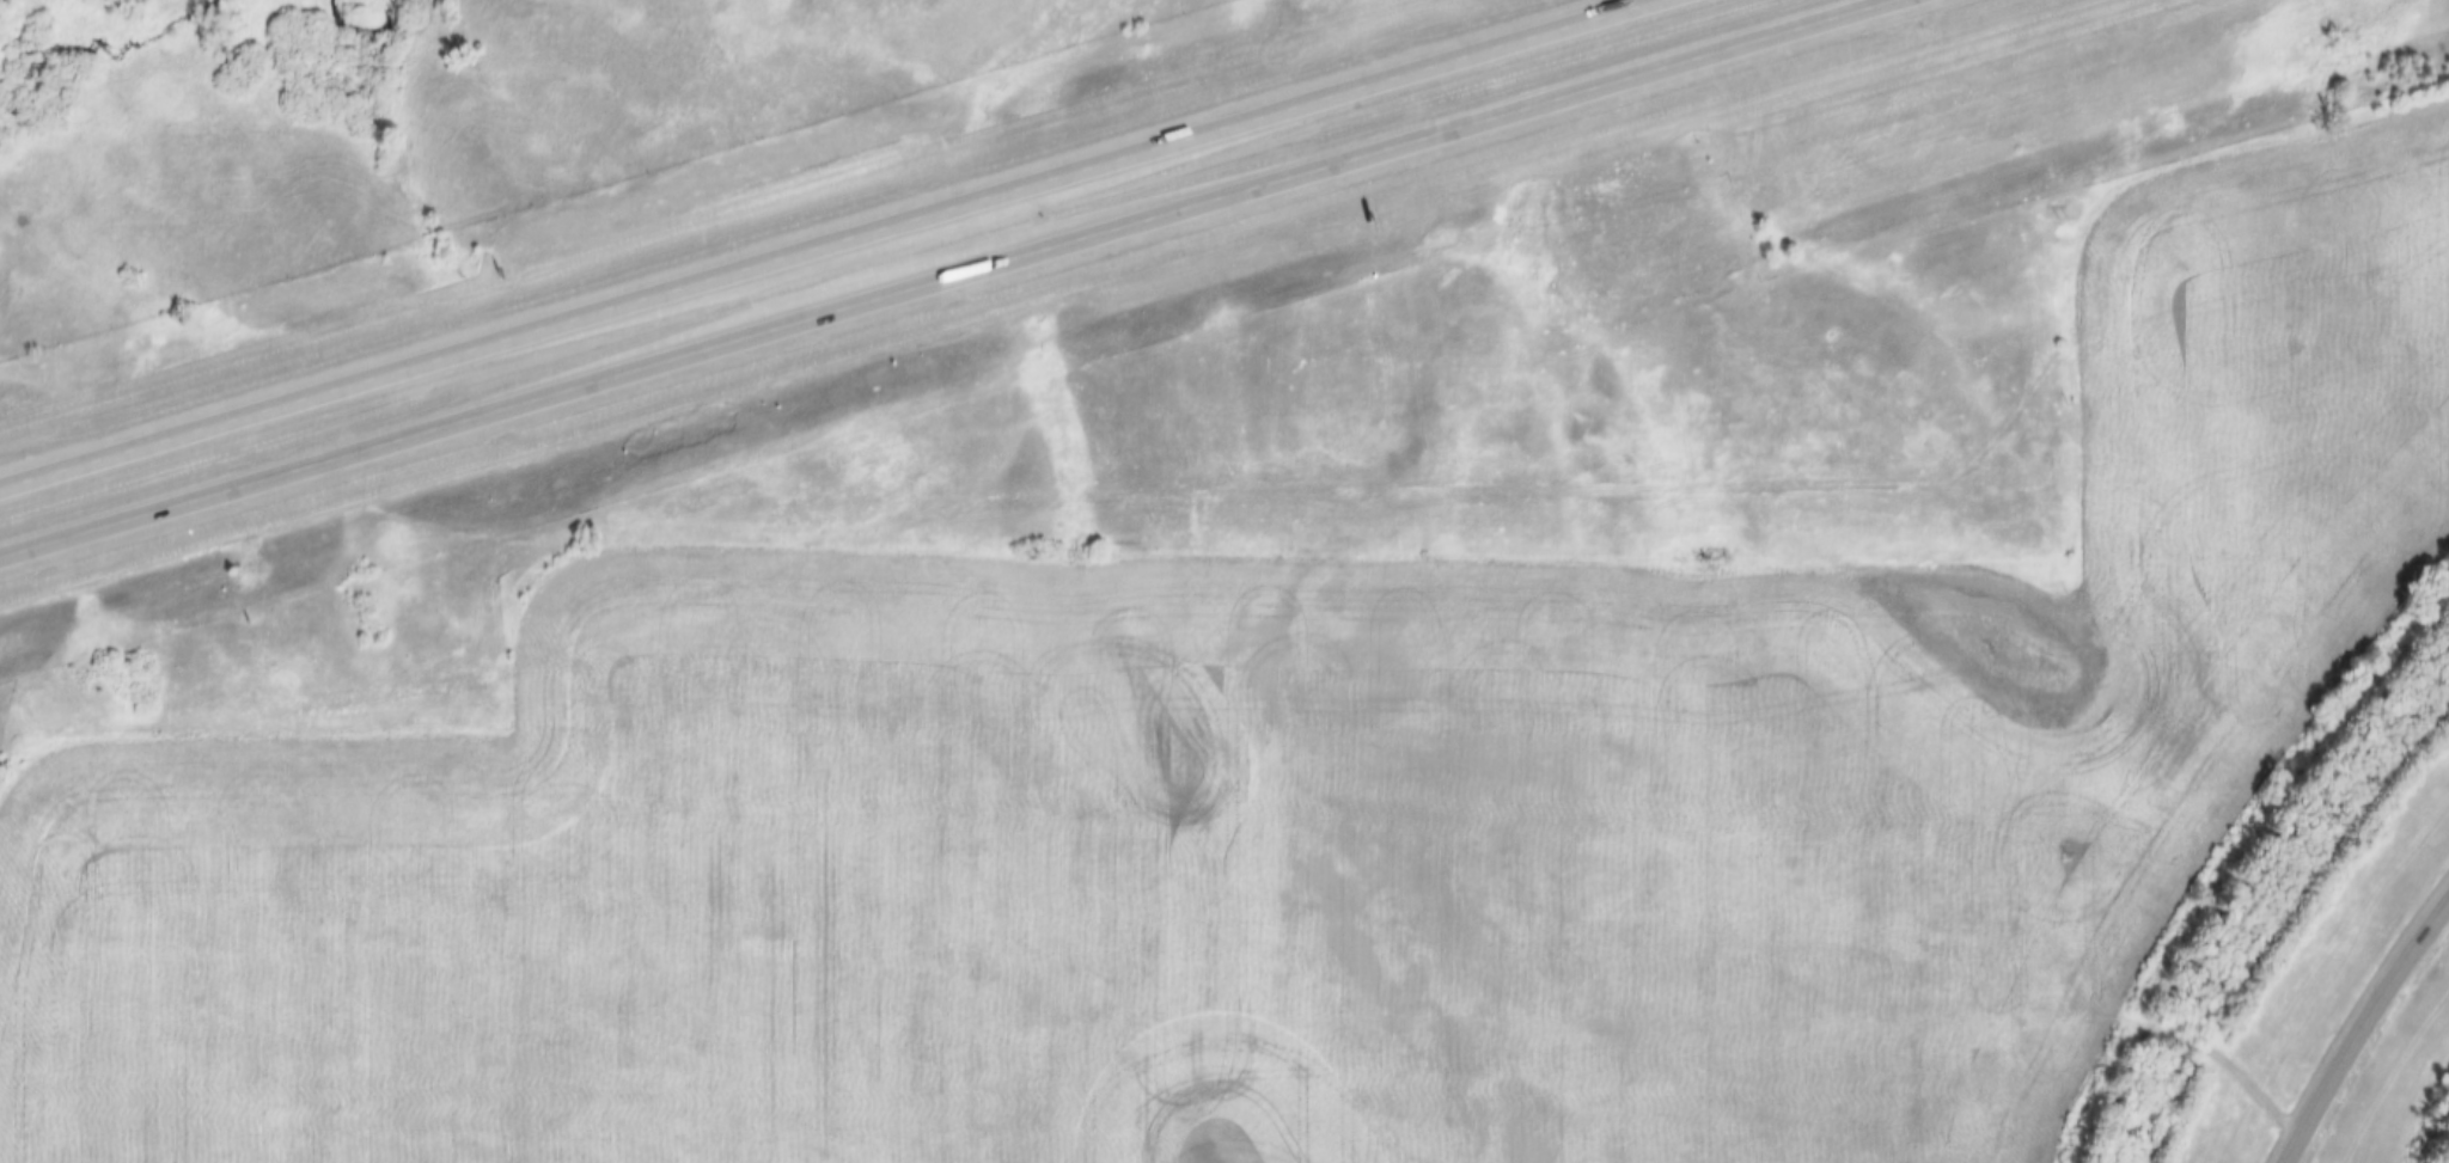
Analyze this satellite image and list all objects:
road: (818, 240)
road: (957, 282)
road: (2362, 1027)

